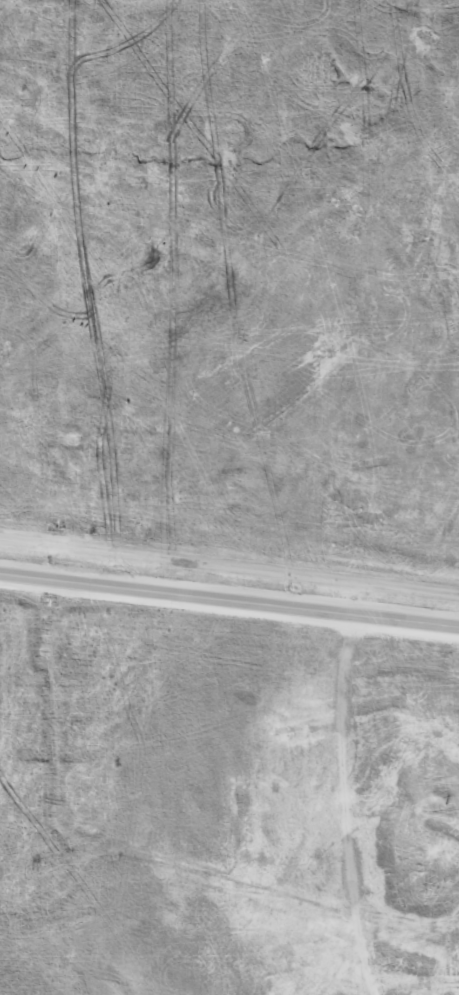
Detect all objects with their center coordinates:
road: (229, 566)
road: (229, 601)
road: (343, 789)

